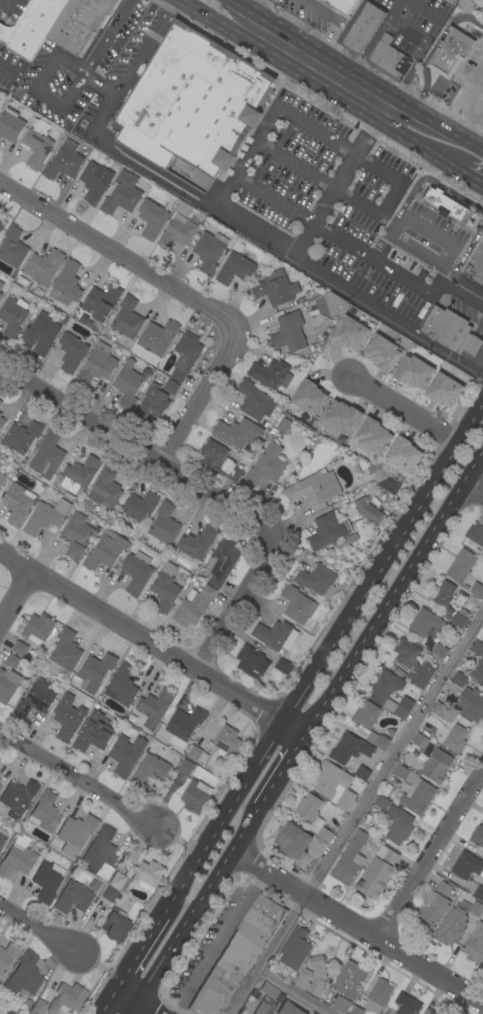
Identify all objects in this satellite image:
building: (451, 1)
road: (237, 2)
road: (5, 4)
building: (342, 5)
road: (394, 8)
road: (248, 14)
road: (219, 22)
building: (78, 23)
parking lot: (414, 23)
building: (31, 26)
road: (332, 26)
building: (363, 28)
road: (408, 29)
road: (105, 37)
road: (429, 52)
building: (450, 52)
building: (390, 58)
road: (6, 70)
road: (331, 75)
road: (100, 84)
parking lot: (469, 88)
road: (32, 90)
building: (189, 97)
building: (10, 124)
road: (470, 124)
road: (443, 127)
road: (96, 130)
building: (37, 142)
road: (426, 149)
road: (247, 157)
building: (63, 161)
road: (295, 165)
road: (473, 177)
building: (95, 181)
road: (433, 181)
building: (121, 193)
road: (388, 197)
road: (274, 200)
building: (443, 202)
building: (151, 218)
building: (198, 218)
building: (2, 222)
road: (384, 222)
road: (414, 225)
building: (177, 232)
road: (343, 242)
building: (12, 247)
road: (417, 249)
building: (209, 250)
road: (466, 250)
road: (119, 253)
road: (477, 263)
building: (43, 266)
building: (234, 268)
building: (1, 284)
building: (66, 285)
building: (275, 290)
building: (0, 294)
building: (100, 301)
building: (330, 305)
road: (369, 307)
building: (12, 316)
building: (127, 318)
building: (450, 330)
building: (288, 332)
building: (40, 333)
building: (350, 333)
building: (157, 336)
building: (71, 352)
building: (383, 352)
building: (185, 355)
road: (477, 360)
building: (96, 364)
building: (413, 372)
building: (270, 374)
building: (127, 384)
building: (171, 387)
building: (444, 390)
building: (309, 397)
road: (193, 399)
building: (254, 400)
building: (0, 401)
building: (152, 404)
road: (402, 409)
building: (0, 414)
building: (342, 417)
building: (2, 422)
building: (283, 425)
building: (237, 432)
building: (21, 436)
building: (373, 436)
building: (403, 454)
road: (136, 455)
building: (46, 456)
building: (219, 460)
building: (266, 465)
building: (0, 466)
building: (79, 473)
building: (377, 473)
building: (2, 479)
building: (389, 486)
building: (105, 488)
building: (314, 489)
road: (472, 492)
building: (17, 503)
building: (138, 506)
building: (370, 511)
building: (45, 516)
building: (164, 524)
building: (324, 531)
building: (476, 533)
building: (76, 535)
building: (195, 544)
building: (105, 550)
road: (381, 559)
building: (222, 560)
building: (461, 565)
building: (136, 572)
building: (317, 580)
building: (164, 588)
building: (477, 590)
road: (393, 592)
road: (16, 598)
building: (447, 602)
road: (234, 603)
building: (297, 604)
building: (193, 605)
building: (425, 623)
building: (38, 628)
building: (275, 635)
road: (140, 636)
building: (482, 642)
building: (19, 648)
building: (477, 648)
building: (439, 650)
building: (406, 652)
building: (63, 653)
building: (251, 661)
building: (283, 666)
building: (94, 671)
building: (478, 671)
building: (420, 676)
building: (9, 678)
building: (459, 678)
building: (121, 685)
building: (388, 693)
building: (35, 698)
building: (471, 704)
building: (154, 707)
building: (443, 711)
building: (365, 715)
building: (67, 717)
building: (183, 725)
road: (292, 727)
building: (93, 733)
building: (455, 739)
building: (378, 740)
building: (227, 741)
building: (419, 742)
building: (349, 748)
building: (125, 754)
building: (197, 754)
road: (286, 759)
building: (436, 765)
building: (185, 767)
building: (149, 770)
building: (362, 773)
road: (78, 779)
building: (0, 781)
building: (335, 785)
building: (0, 786)
building: (414, 790)
building: (195, 796)
building: (18, 797)
building: (381, 802)
building: (308, 807)
road: (355, 811)
building: (45, 812)
building: (398, 824)
road: (214, 829)
building: (75, 833)
building: (324, 834)
building: (478, 836)
building: (2, 837)
building: (292, 841)
building: (316, 847)
building: (101, 849)
road: (432, 857)
building: (17, 858)
building: (349, 859)
building: (467, 865)
building: (379, 871)
building: (147, 874)
building: (117, 880)
building: (47, 881)
building: (443, 888)
road: (203, 892)
building: (478, 893)
building: (109, 894)
building: (72, 898)
building: (476, 908)
building: (431, 911)
building: (453, 924)
building: (115, 925)
road: (356, 926)
road: (40, 927)
road: (218, 941)
building: (475, 944)
building: (295, 948)
building: (8, 954)
building: (237, 957)
road: (129, 962)
building: (27, 973)
building: (304, 976)
building: (350, 979)
building: (269, 990)
road: (295, 991)
road: (124, 994)
building: (378, 995)
building: (66, 998)
road: (104, 1001)
building: (28, 1004)
building: (341, 1004)
building: (406, 1004)
building: (38, 1006)
building: (263, 1006)
road: (131, 1007)
road: (146, 1007)
building: (288, 1009)
building: (355, 1010)
building: (5, 1012)
building: (31, 1012)
building: (434, 1012)
building: (312, 1013)

